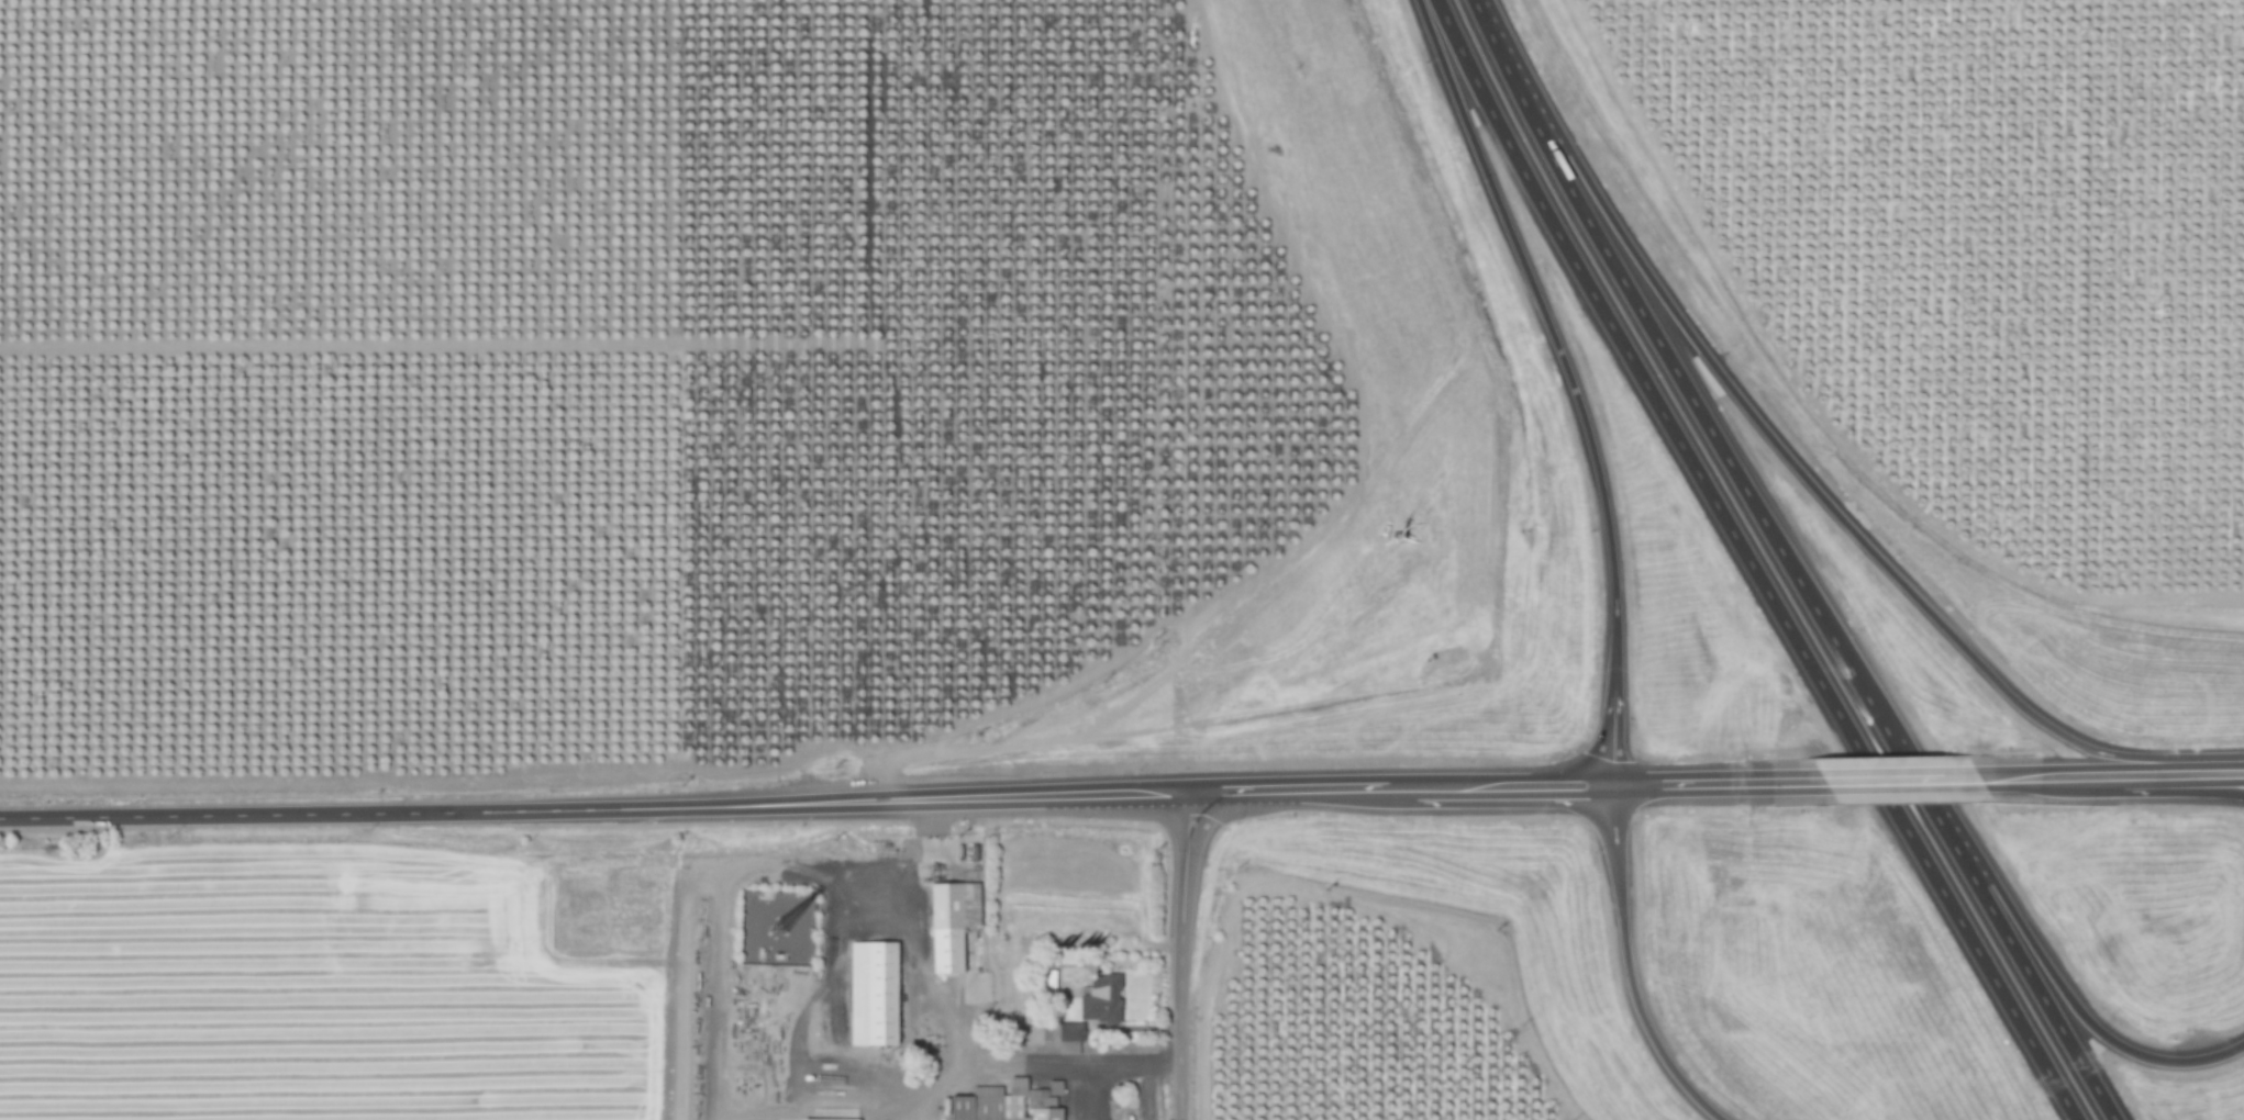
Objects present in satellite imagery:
road: (1501, 60)
road: (1549, 332)
road: (1710, 432)
road: (1812, 486)
road: (1748, 563)
road: (1613, 730)
road: (2232, 769)
road: (2192, 770)
road: (2077, 771)
road: (1920, 772)
road: (1731, 776)
road: (2232, 780)
road: (1502, 782)
road: (1286, 786)
road: (1925, 799)
road: (589, 802)
road: (719, 898)
building: (952, 923)
road: (919, 941)
road: (1179, 954)
road: (1626, 965)
road: (2036, 989)
building: (874, 995)
crop: (288, 1000)
building: (1102, 1000)
road: (2075, 1007)
building: (1063, 1033)
road: (1112, 1063)
road: (990, 1069)
building: (1009, 1104)
building: (858, 1119)

